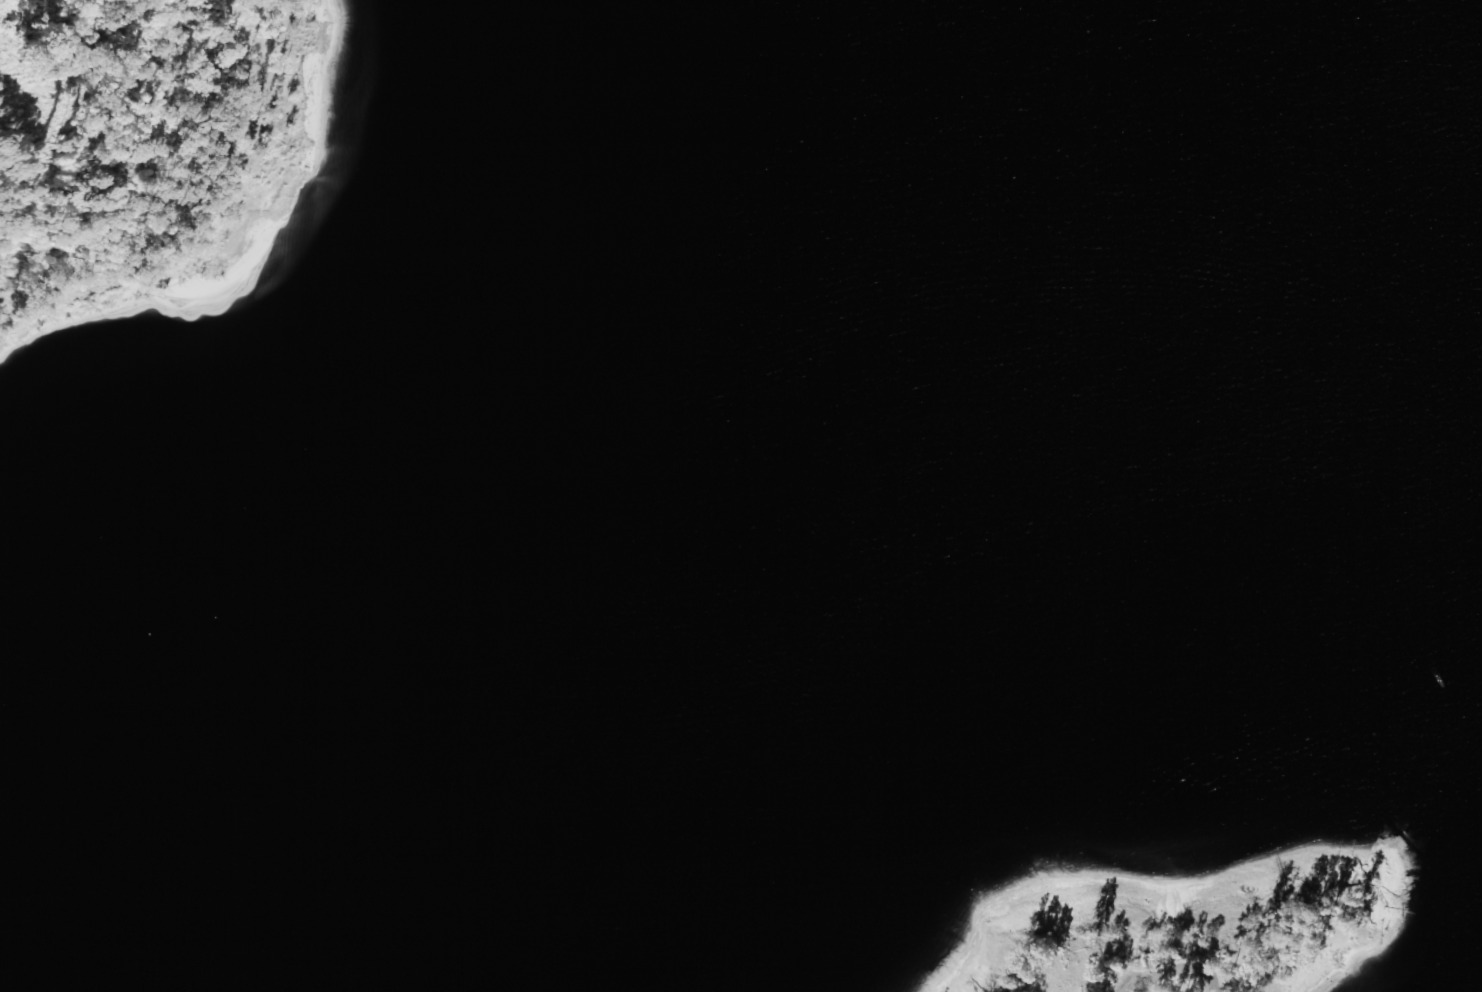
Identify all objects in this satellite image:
road: (1272, 901)

